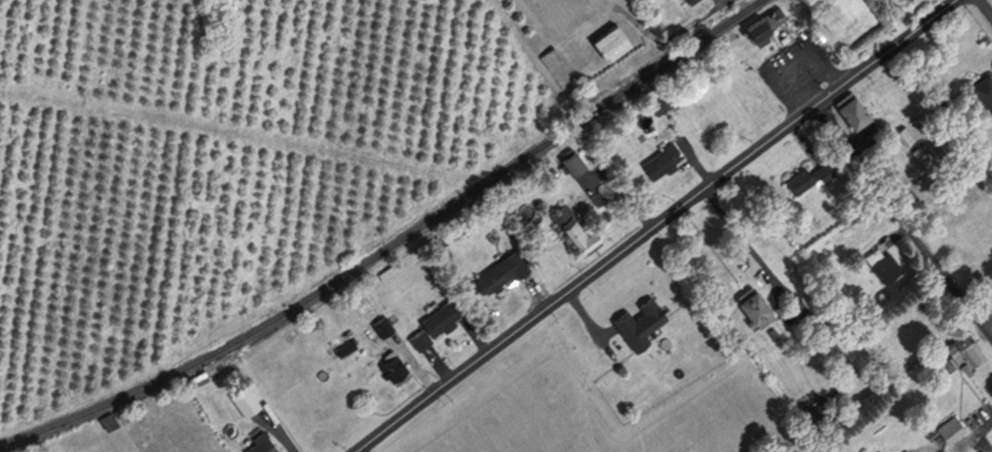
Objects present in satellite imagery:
road: (985, 8)
building: (763, 19)
road: (669, 39)
building: (983, 88)
road: (231, 135)
road: (902, 218)
road: (653, 227)
railway: (392, 243)
road: (775, 277)
road: (986, 316)
road: (357, 451)

